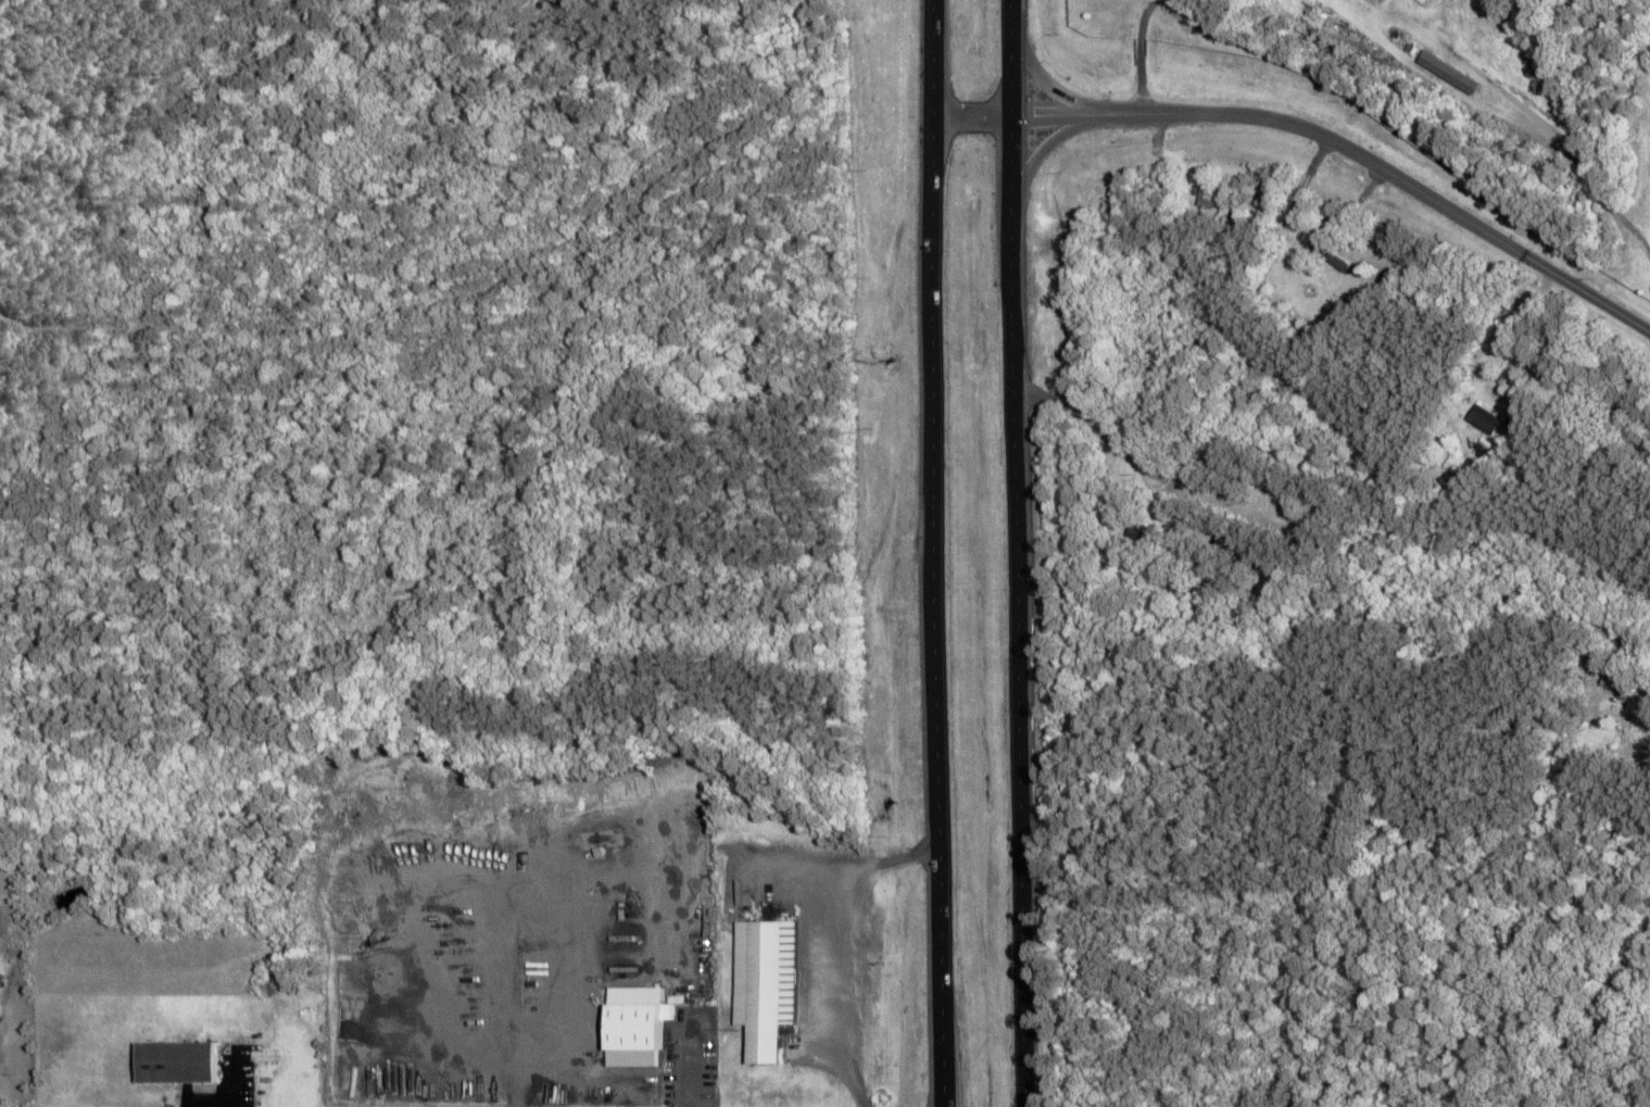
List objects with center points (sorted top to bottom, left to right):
building: (1441, 70)
road: (1044, 79)
road: (1011, 117)
road: (1037, 150)
road: (1387, 169)
building: (1334, 259)
building: (1482, 417)
road: (1572, 511)
road: (934, 553)
road: (1015, 553)
road: (1627, 938)
building: (761, 985)
building: (633, 1024)
building: (171, 1060)

